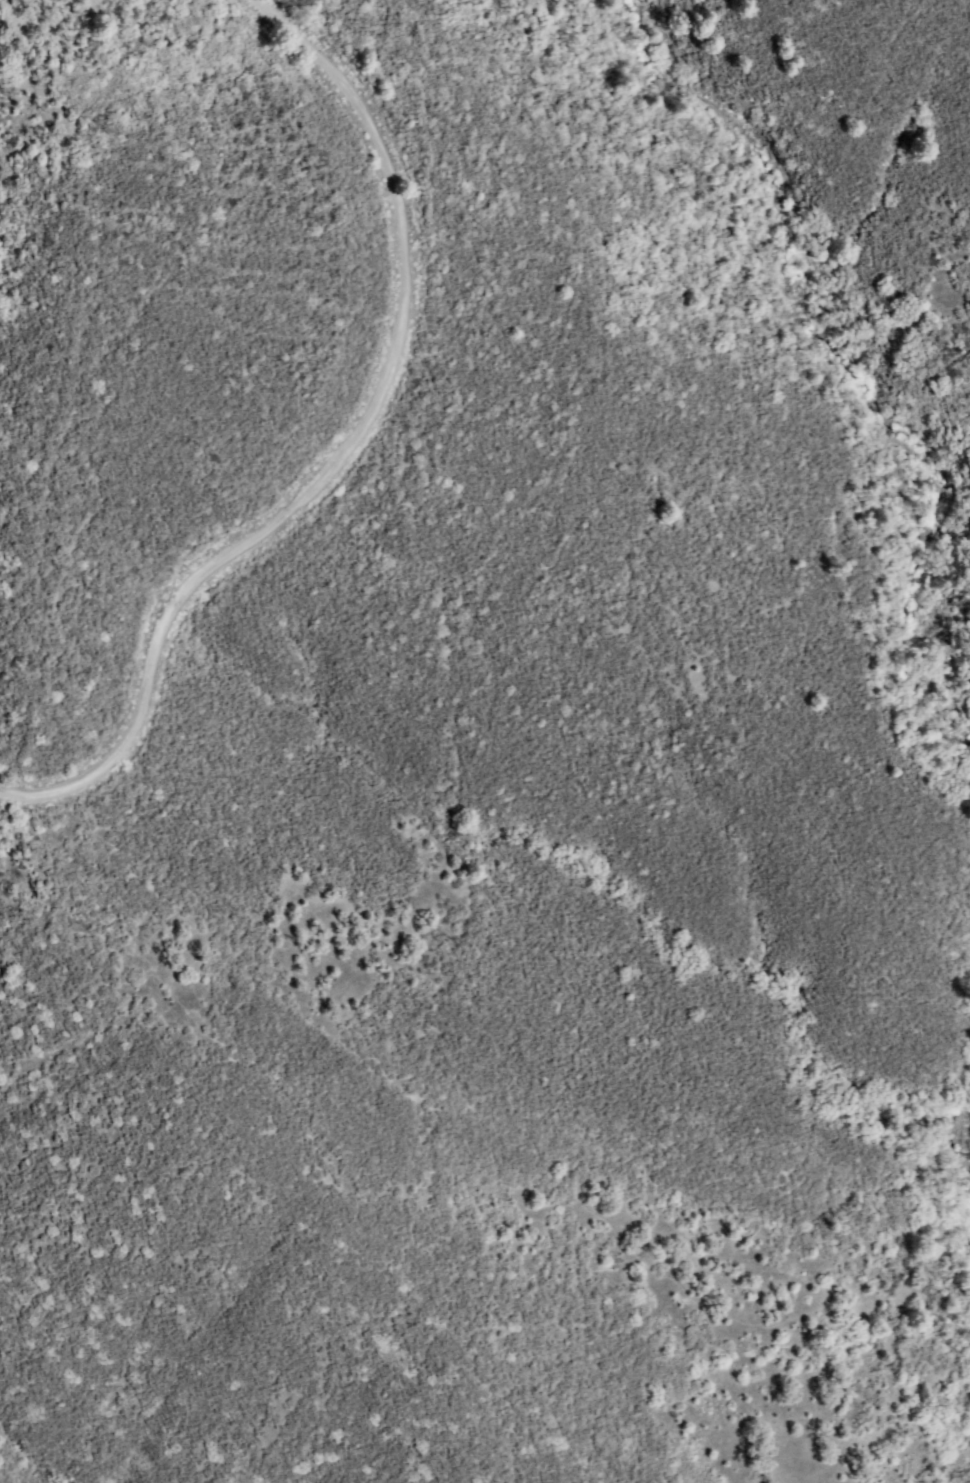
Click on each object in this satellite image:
road: (345, 454)

